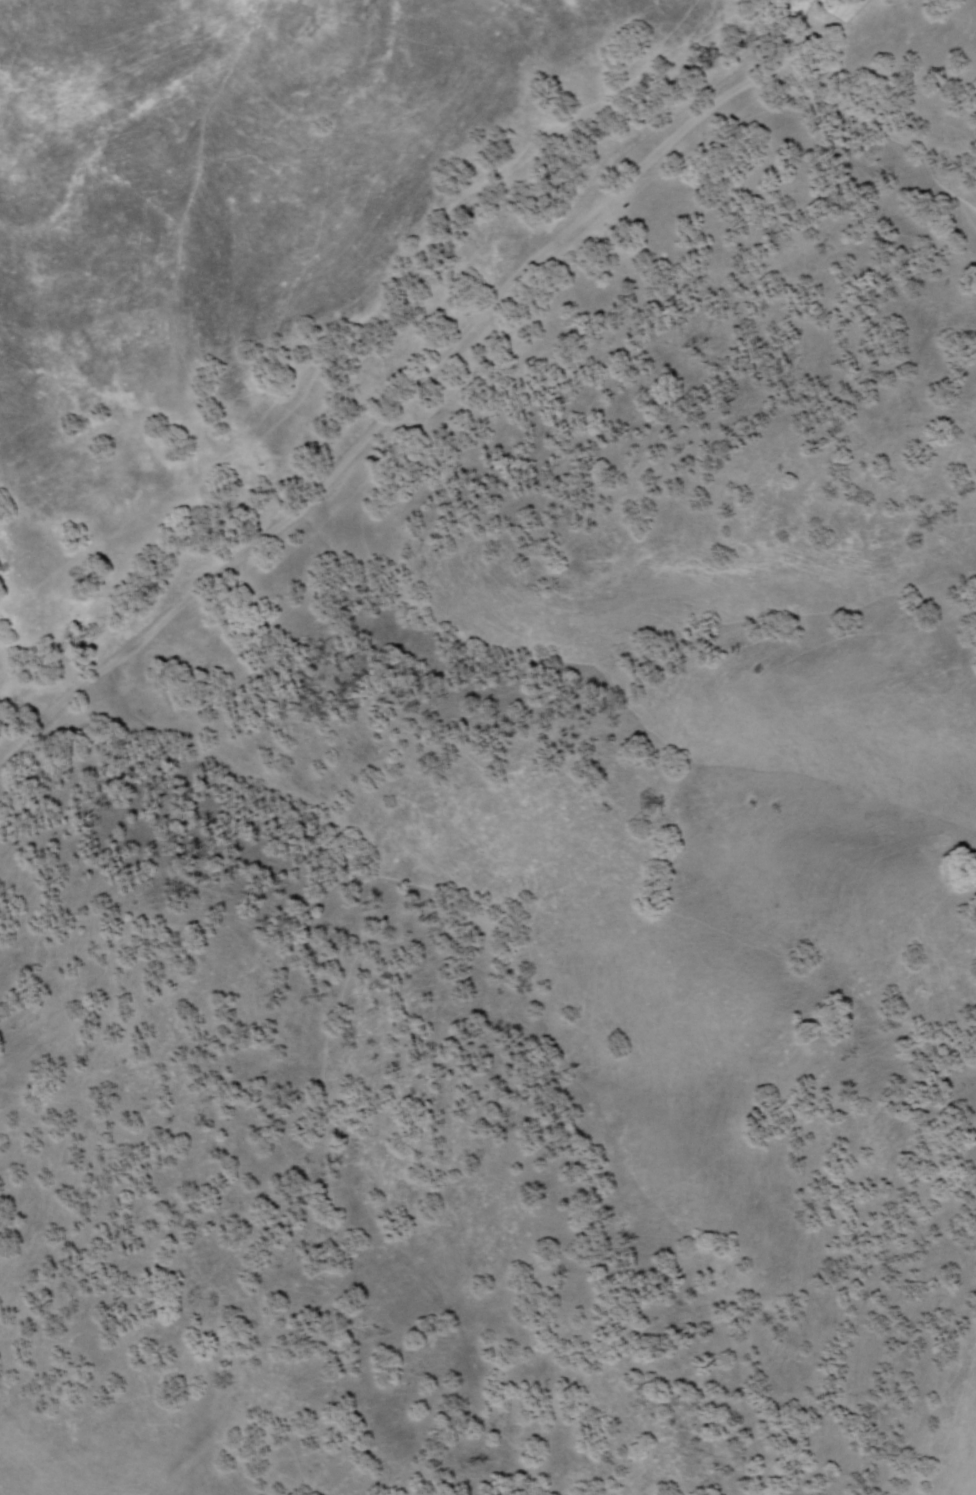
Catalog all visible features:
road: (424, 376)

